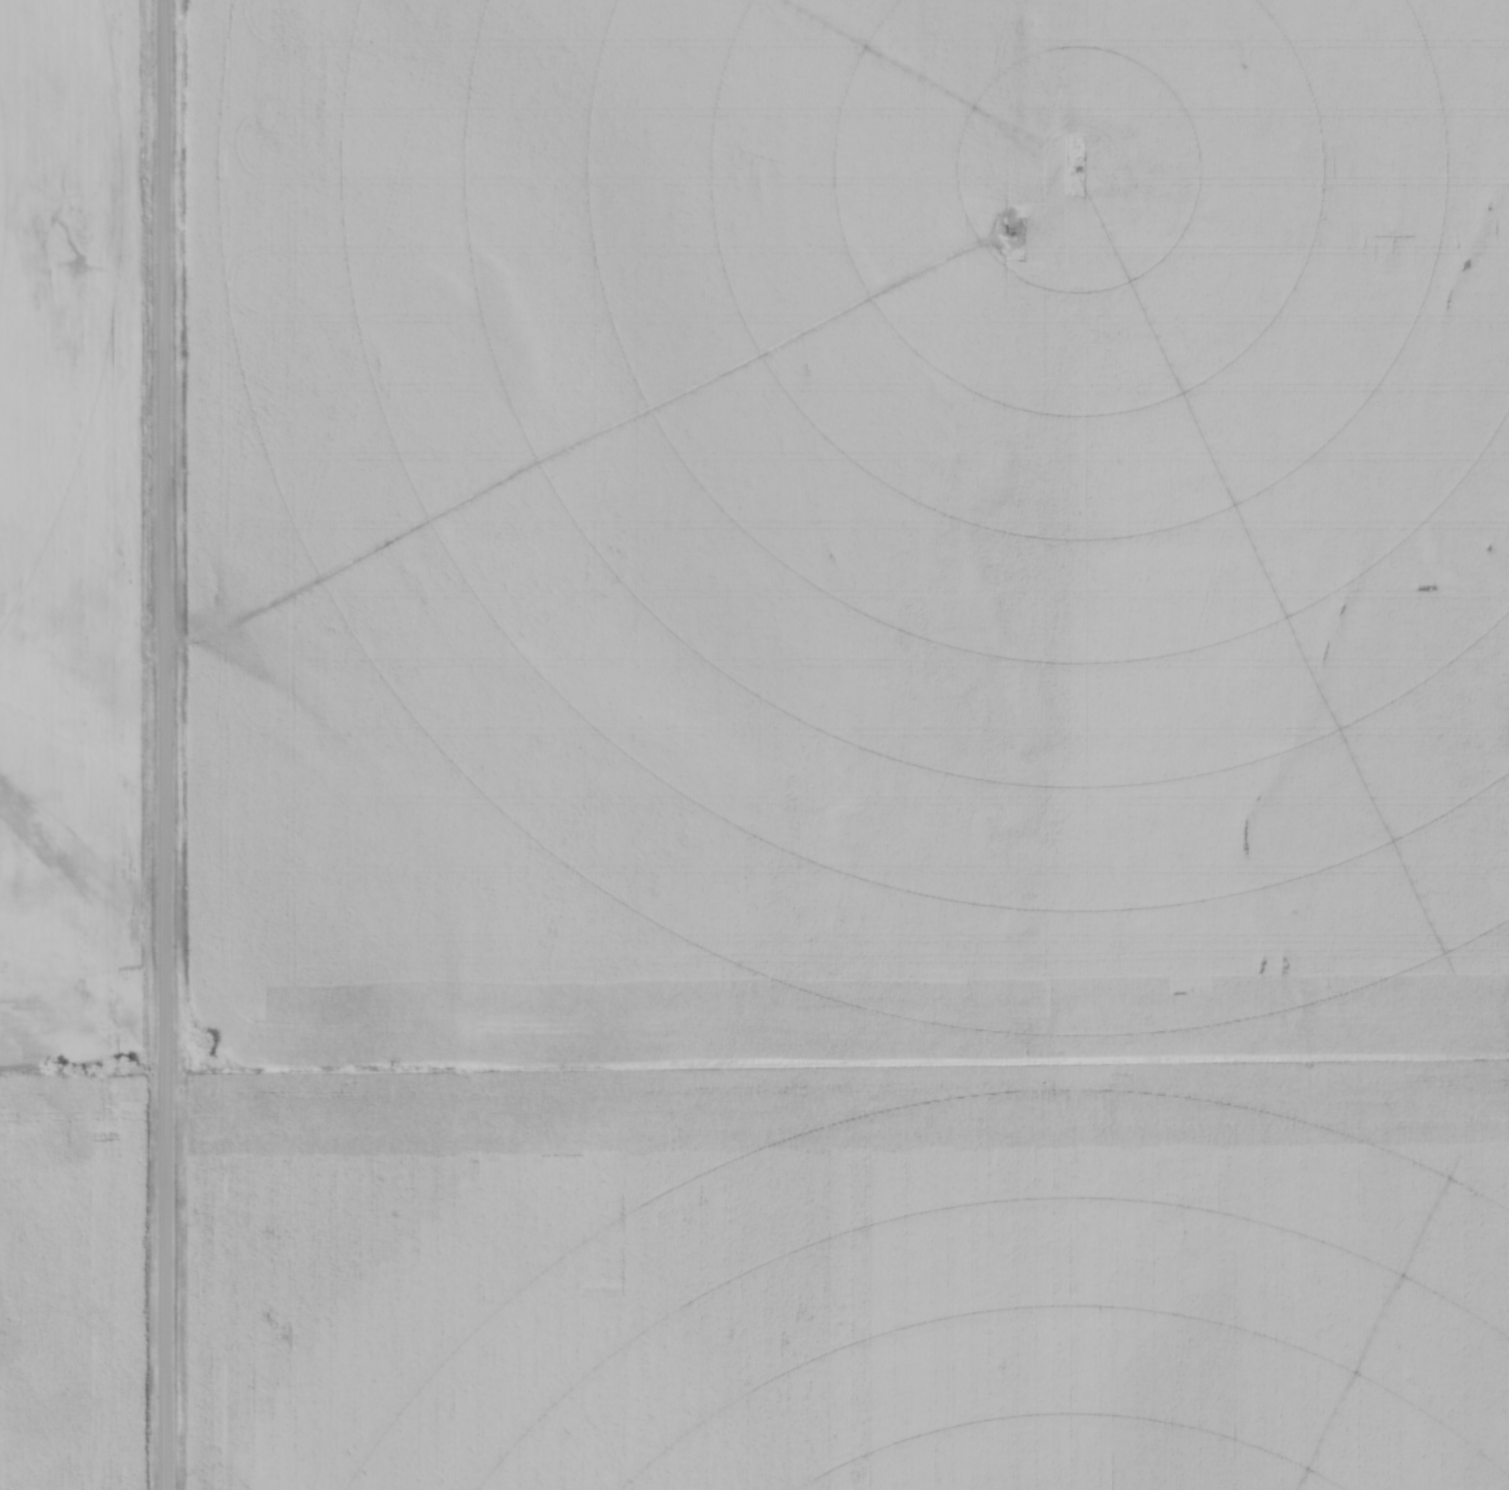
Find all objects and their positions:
road: (164, 745)

